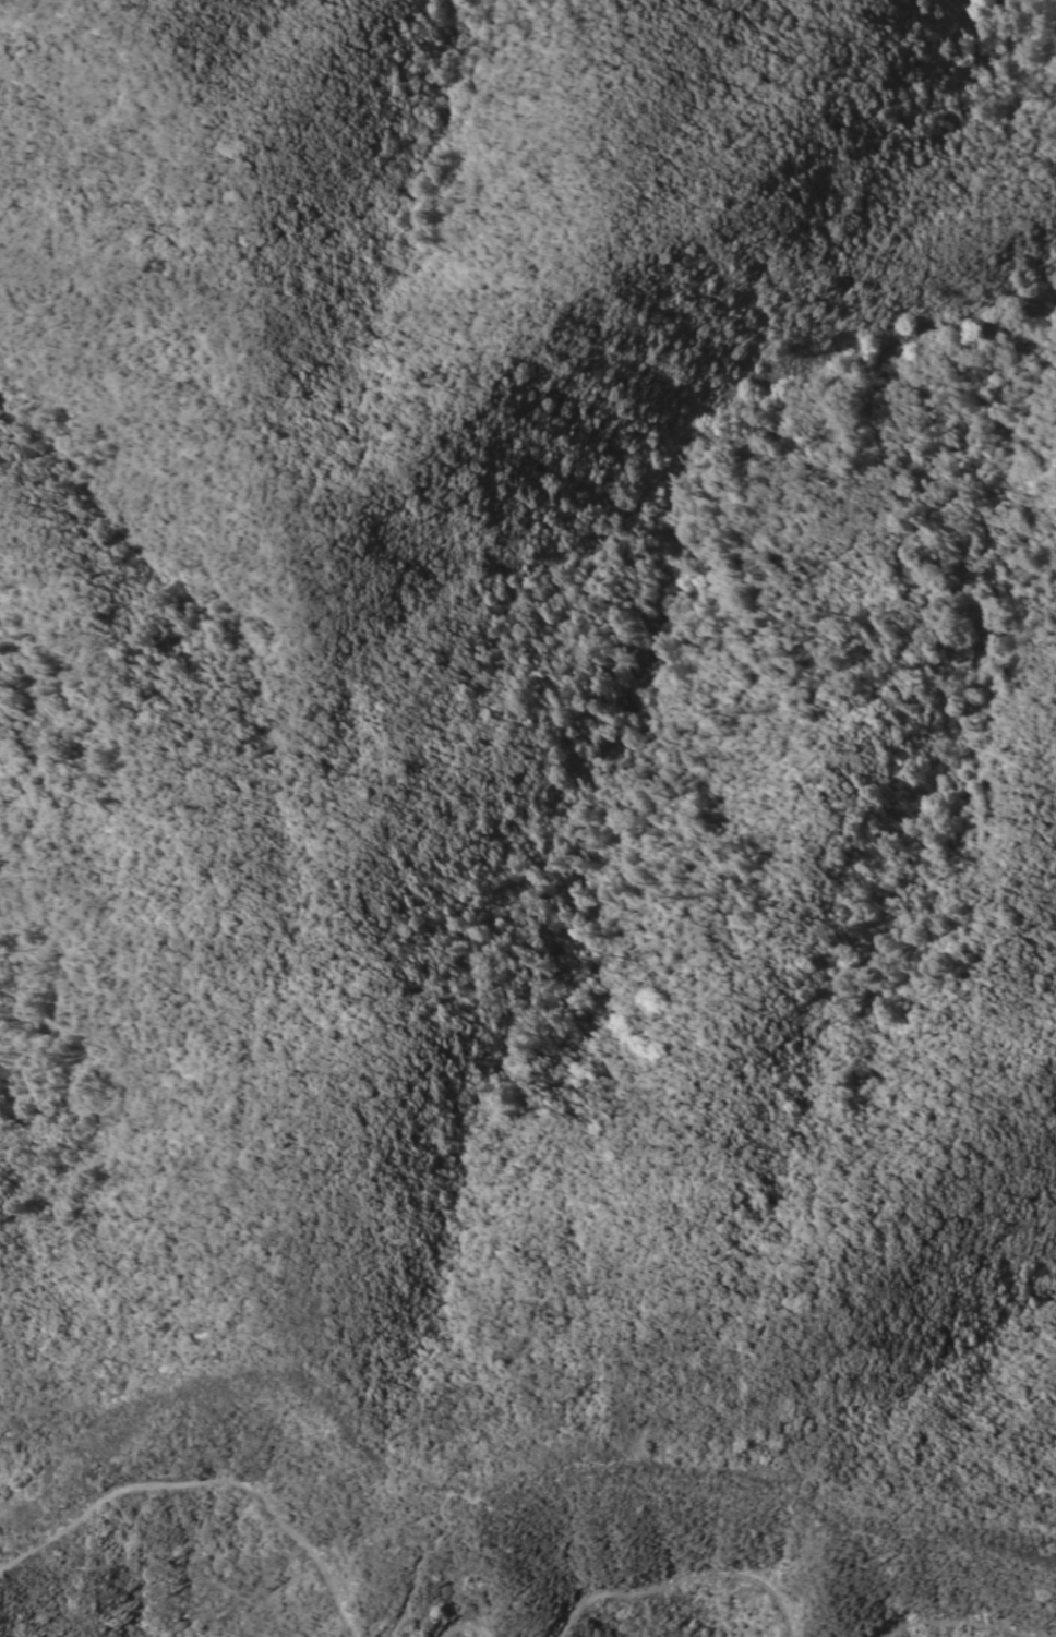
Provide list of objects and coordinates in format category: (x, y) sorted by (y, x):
road: (206, 1481)
road: (689, 1581)
road: (468, 1623)
road: (972, 1624)

